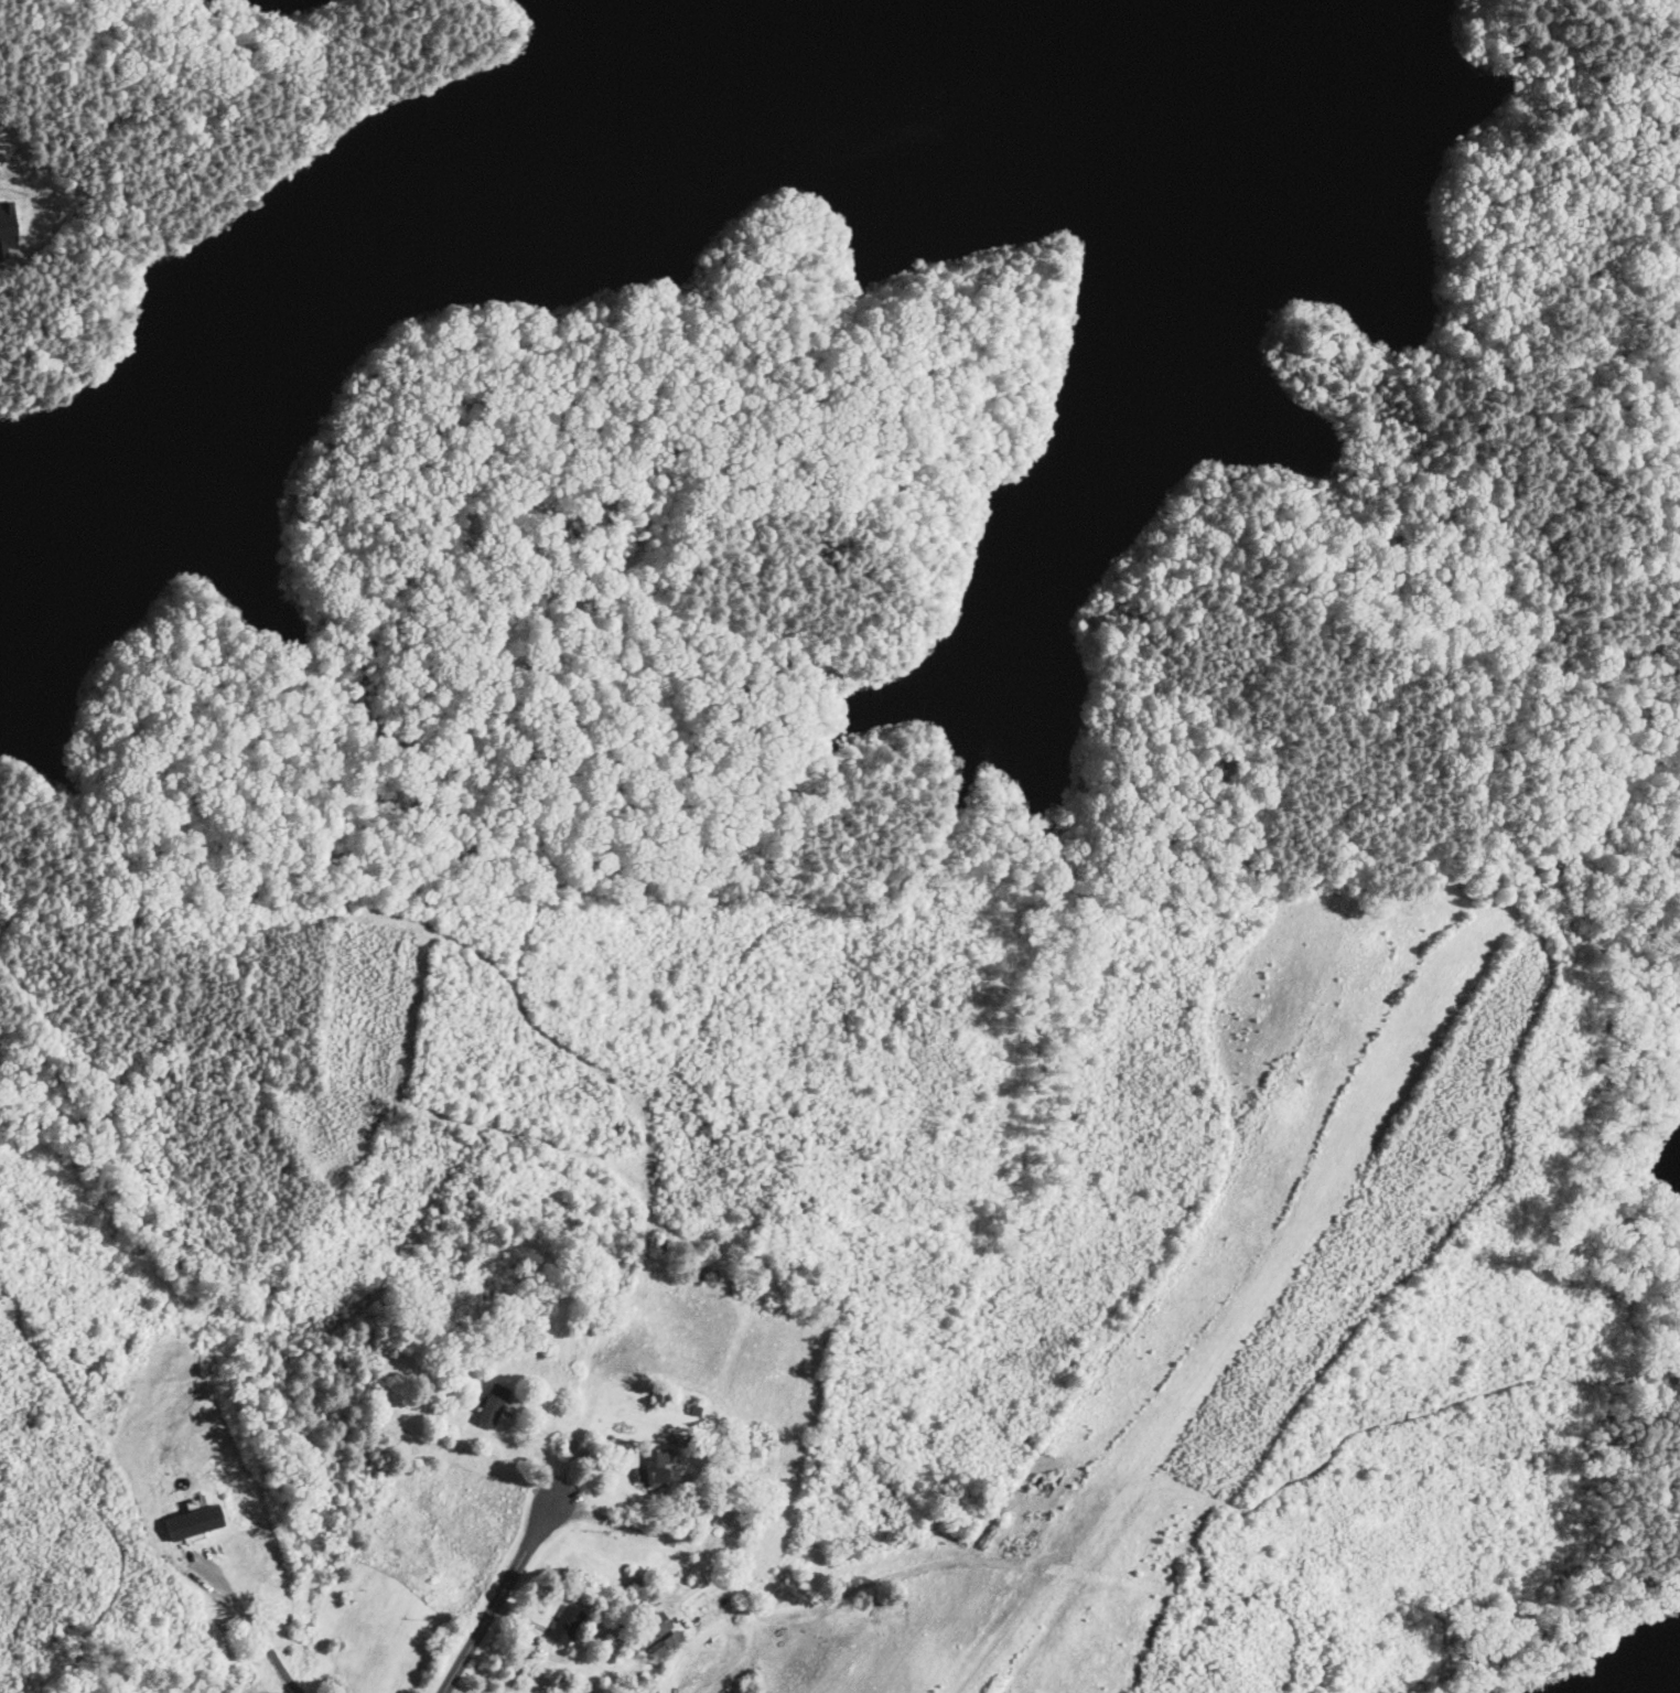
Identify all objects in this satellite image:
building: (493, 1406)
building: (659, 1469)
road: (505, 1595)
road: (249, 1625)
building: (567, 1626)

